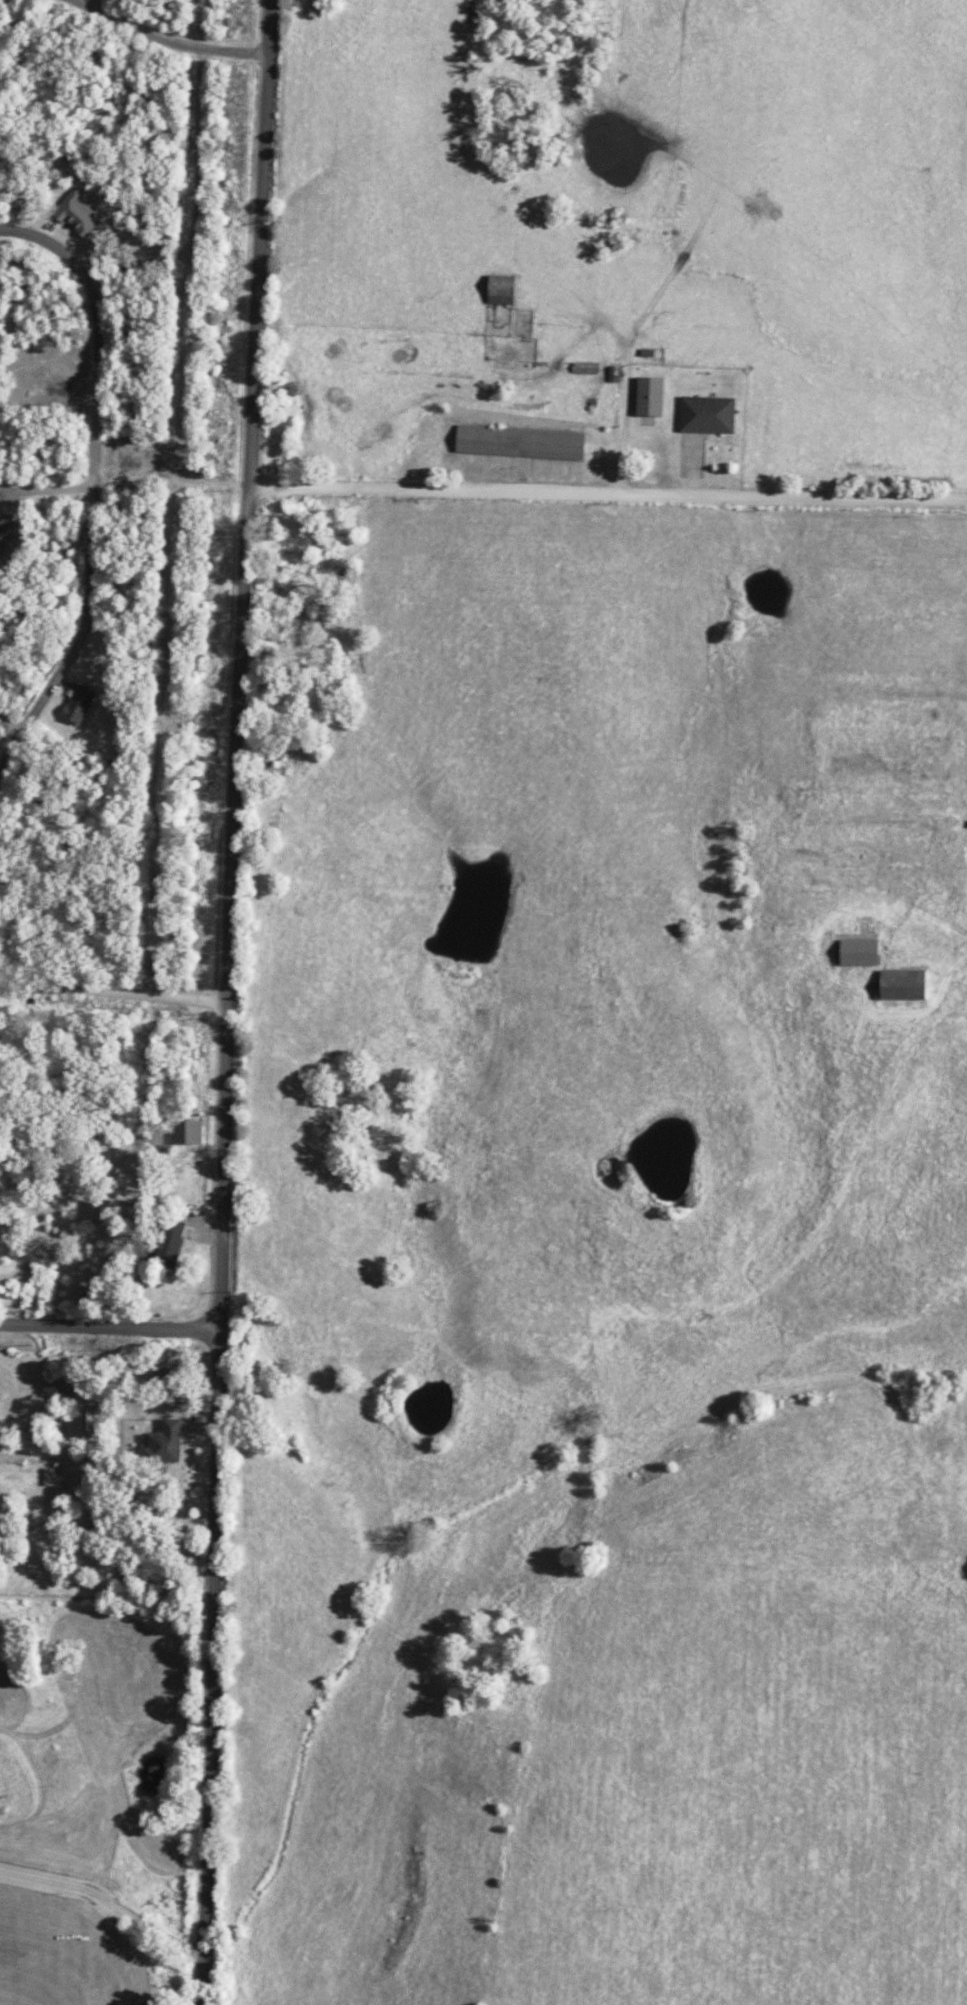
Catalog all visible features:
road: (1, 0)
road: (99, 4)
road: (168, 41)
building: (76, 214)
road: (262, 243)
building: (500, 290)
building: (648, 396)
building: (706, 415)
building: (518, 442)
road: (98, 490)
road: (48, 493)
road: (609, 493)
building: (78, 704)
road: (236, 800)
building: (857, 953)
building: (901, 984)
road: (113, 993)
building: (187, 1132)
building: (169, 1243)
road: (108, 1326)
building: (163, 1443)
building: (49, 1477)
road: (211, 1560)
road: (106, 1899)

